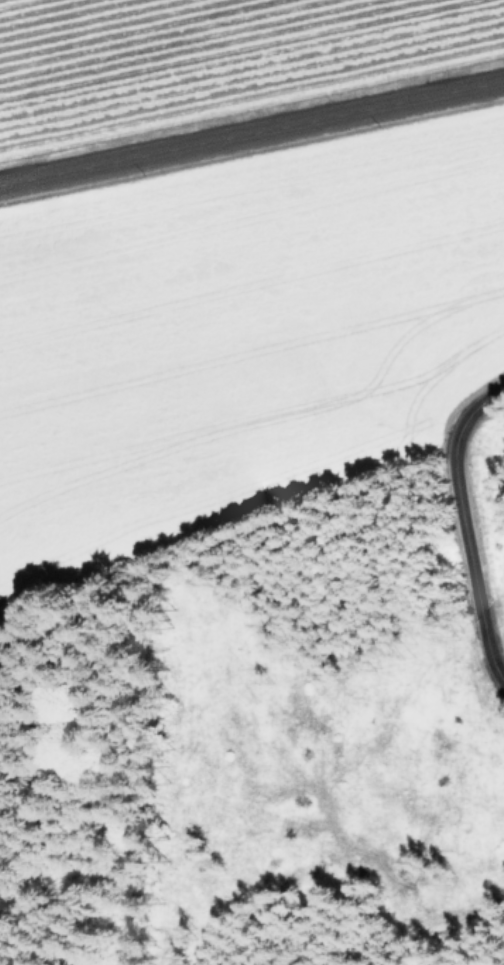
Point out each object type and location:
road: (252, 123)
crop: (232, 259)
road: (453, 528)

